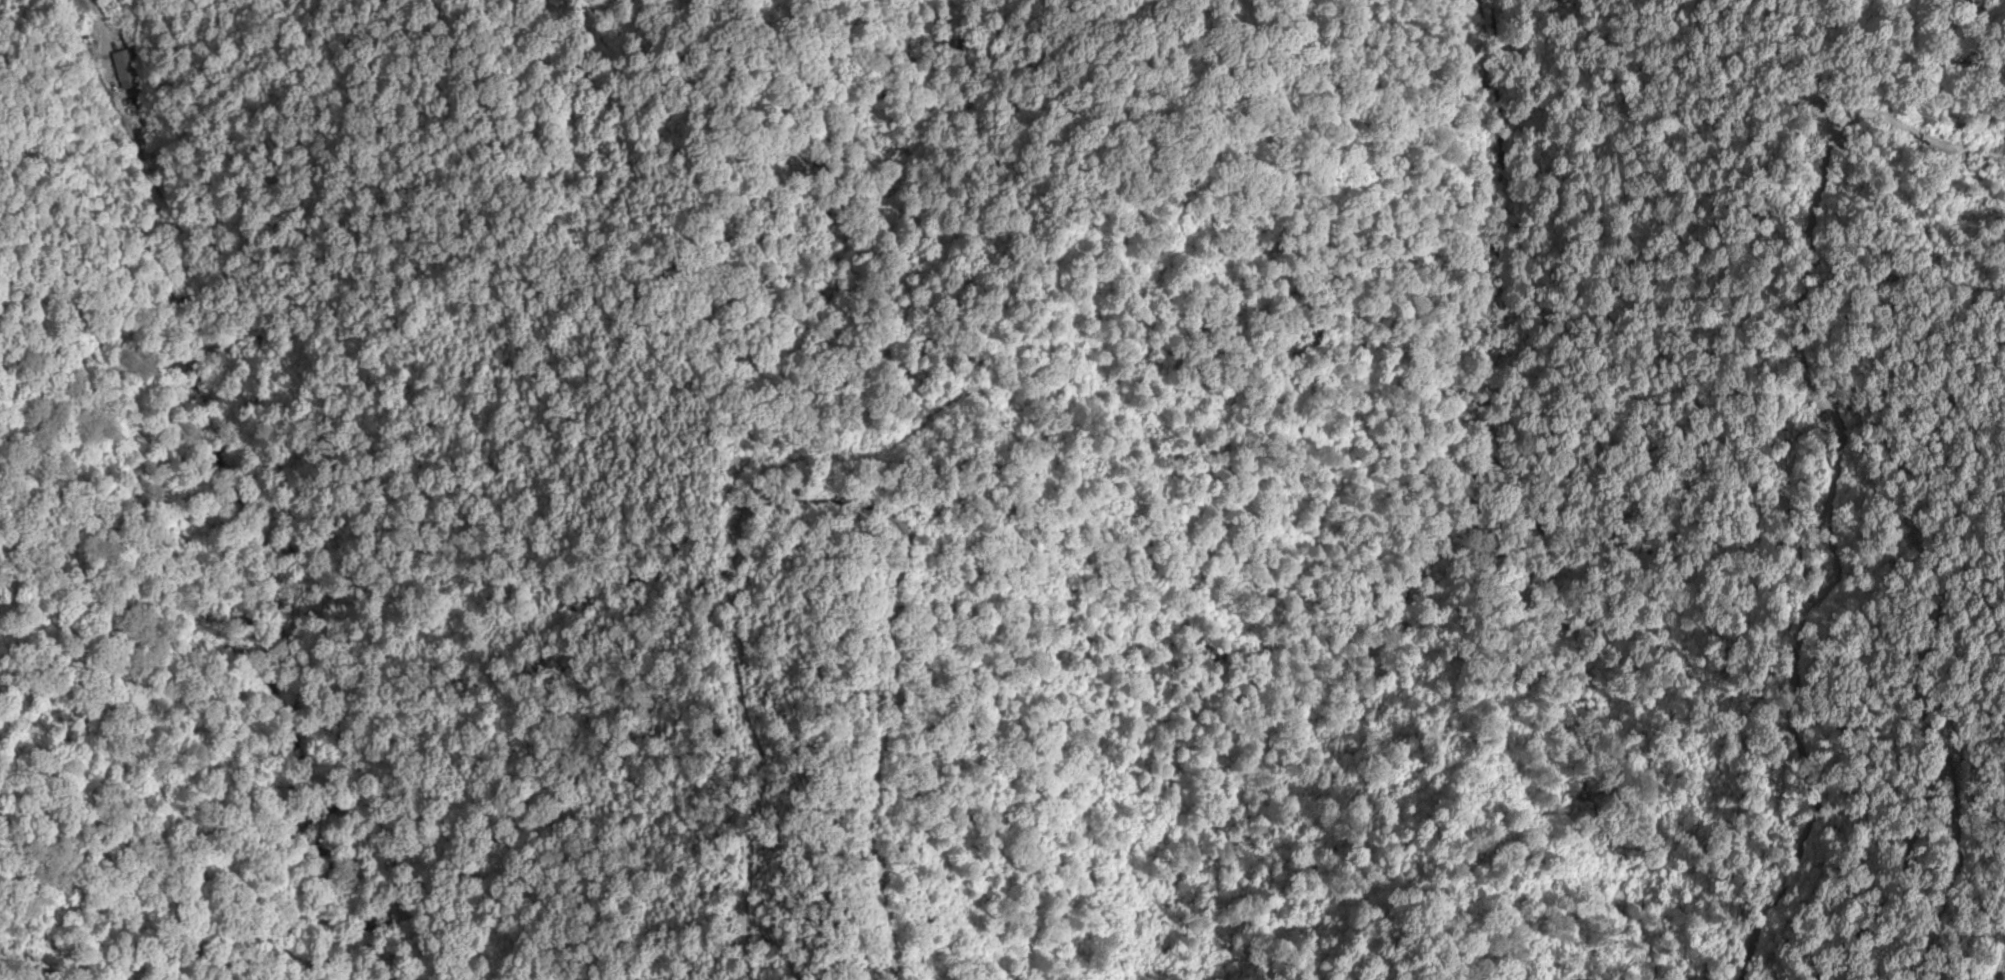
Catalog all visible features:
road: (303, 66)
building: (119, 77)
road: (357, 465)
road: (219, 498)
road: (1994, 958)

